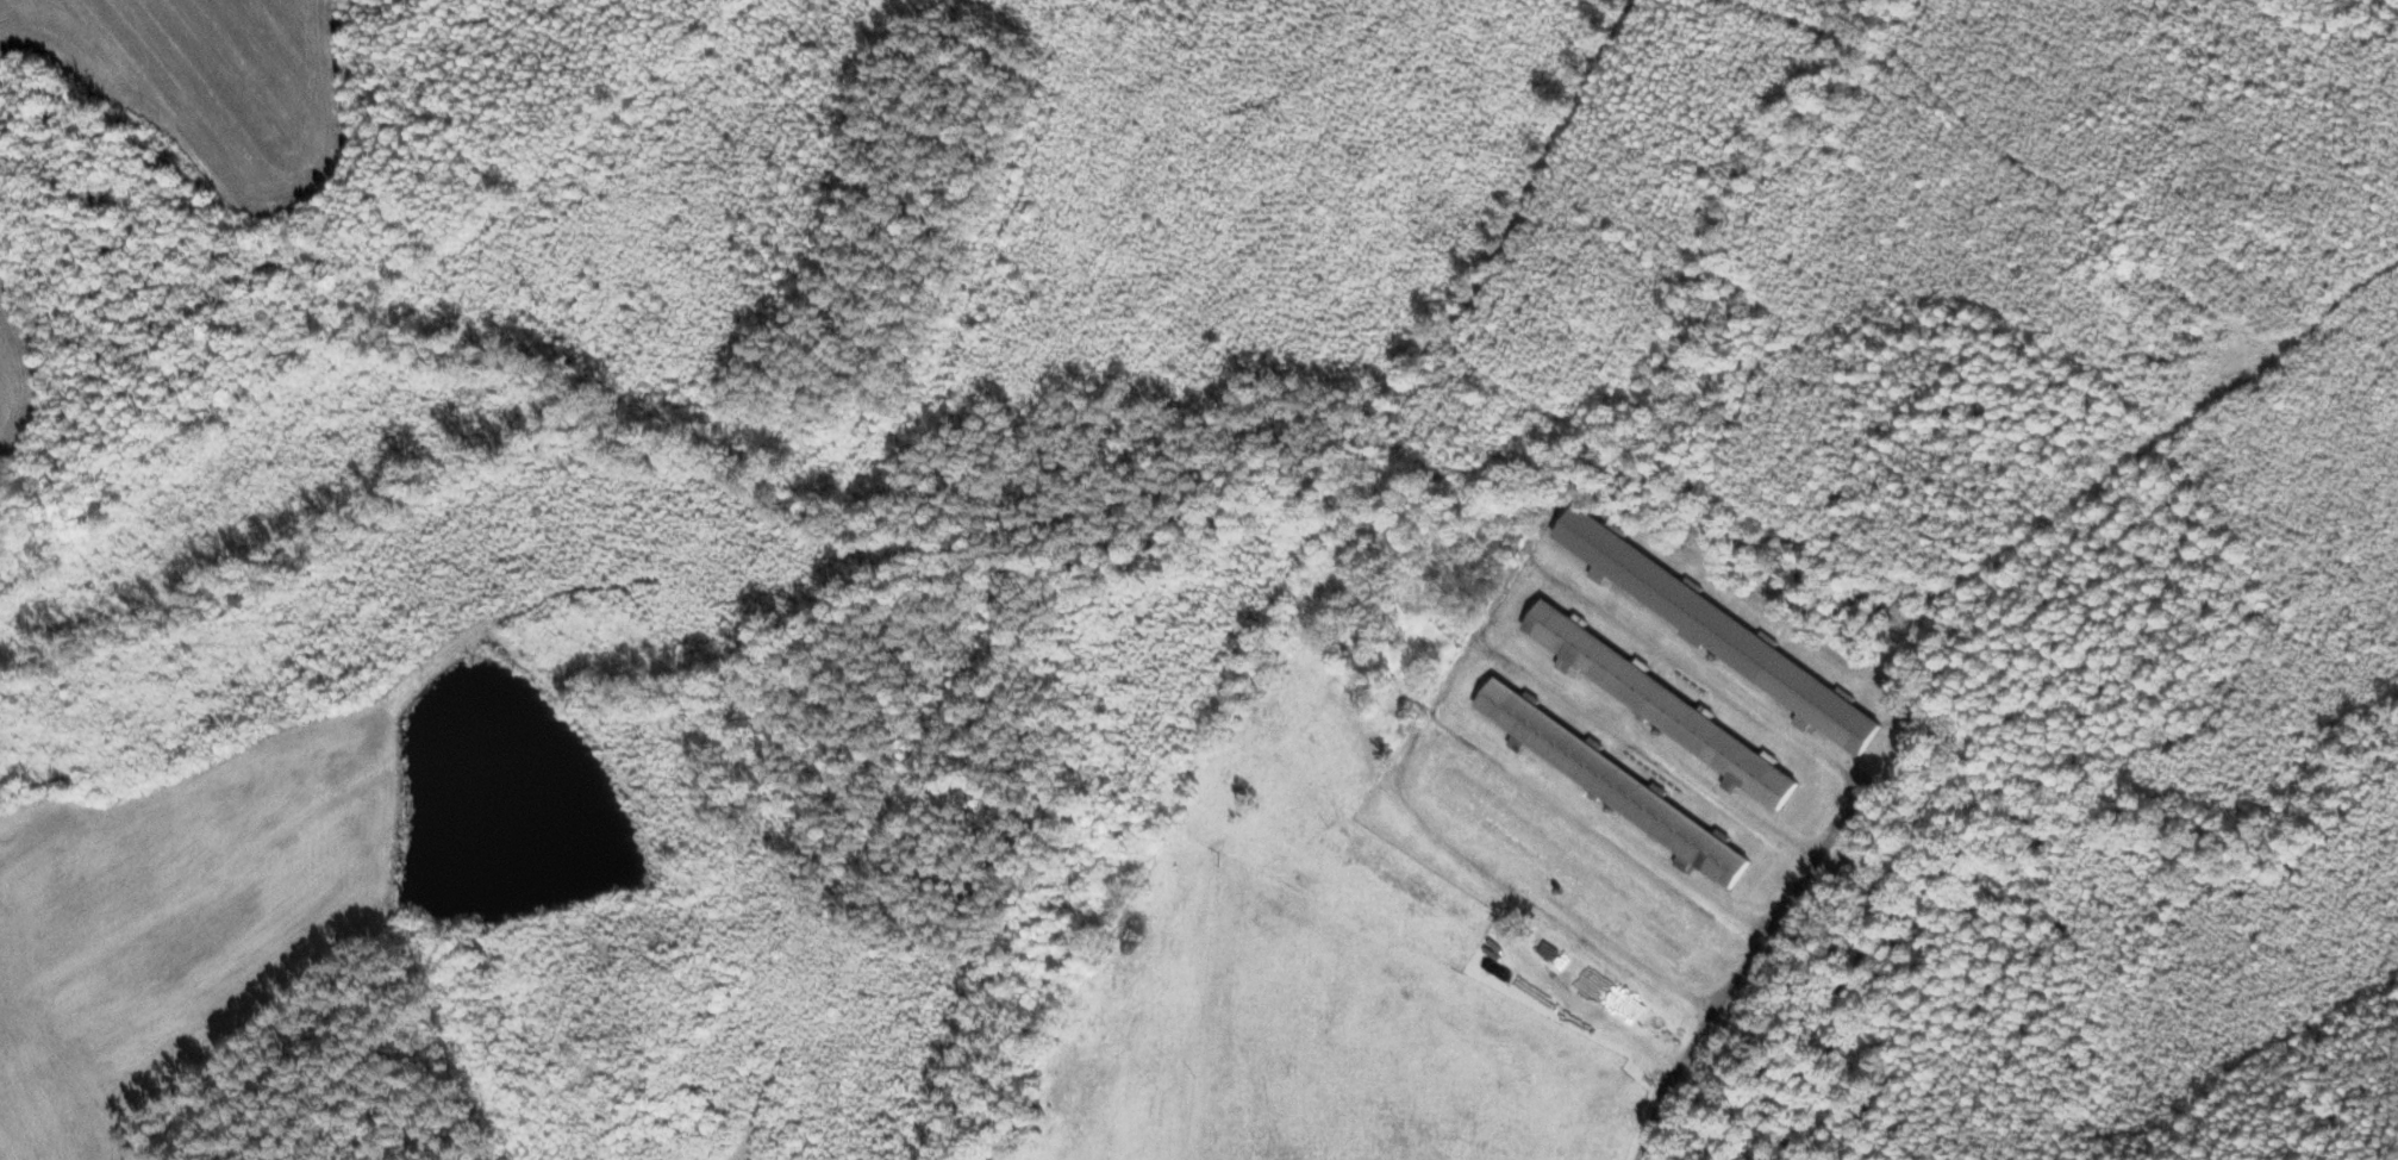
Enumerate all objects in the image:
building: (1717, 631)
building: (1656, 704)
building: (1612, 785)
building: (1557, 865)
road: (1743, 960)

